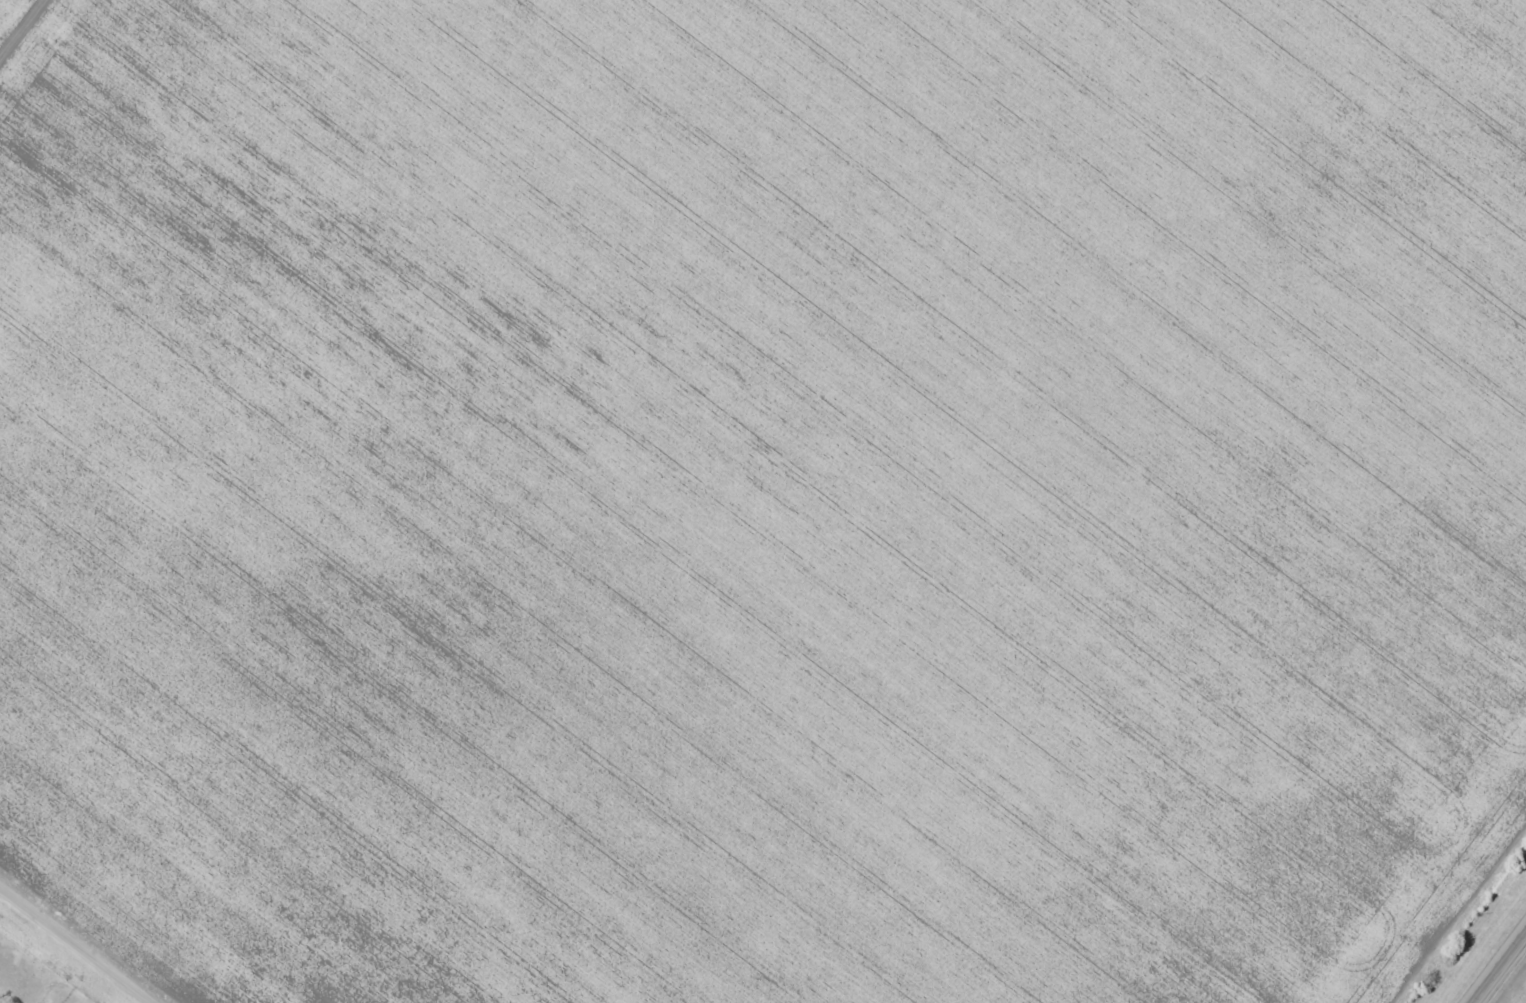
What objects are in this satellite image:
road: (69, 949)
road: (1497, 966)

